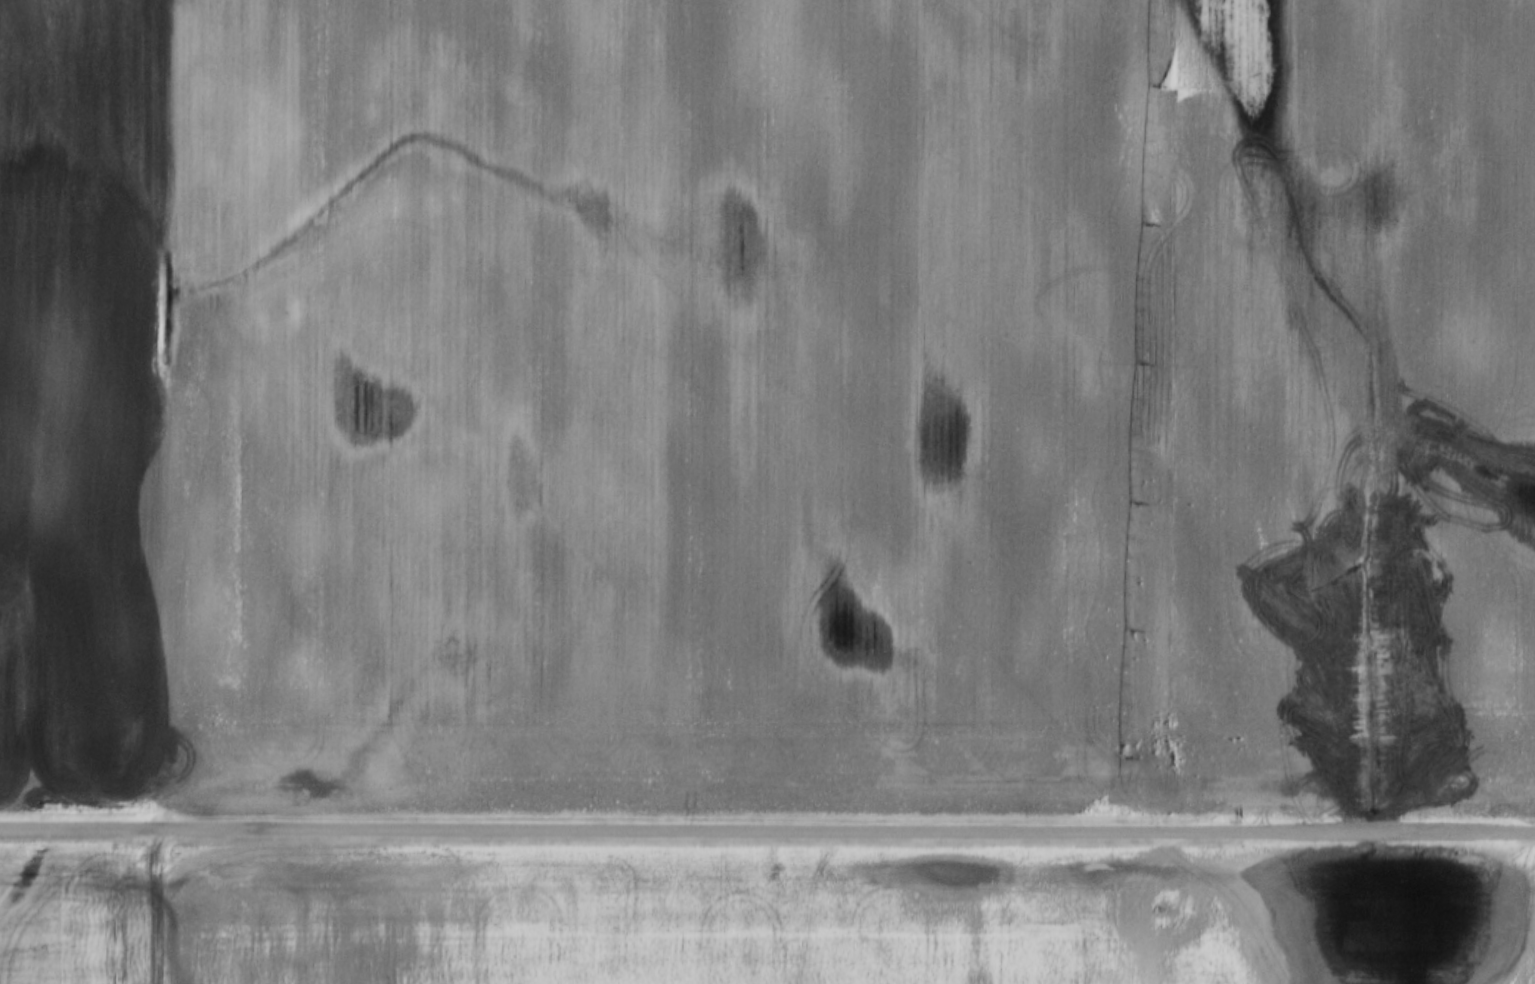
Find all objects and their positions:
road: (73, 822)
road: (840, 831)

